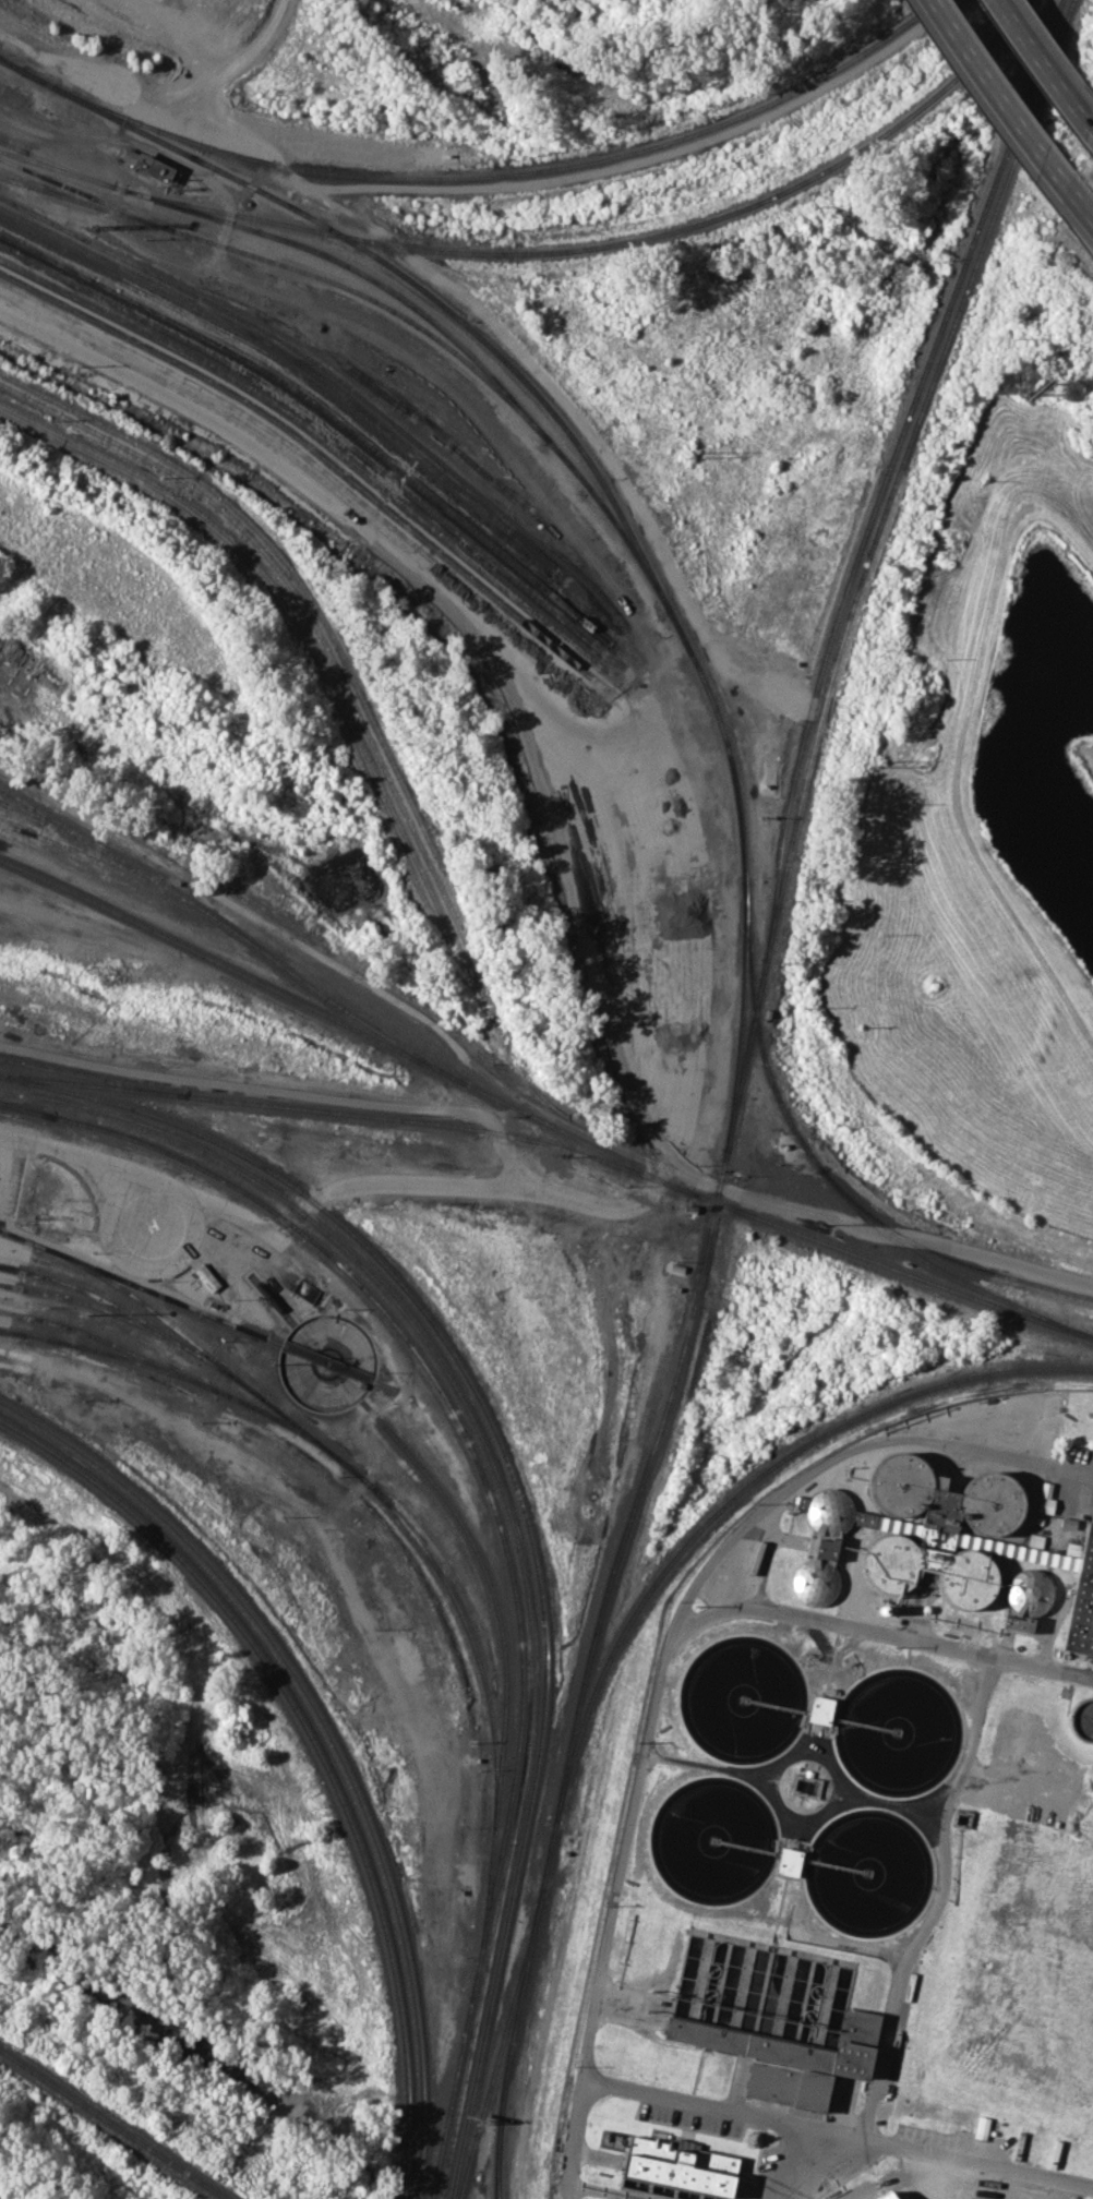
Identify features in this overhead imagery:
railway: (1066, 9)
road: (1050, 62)
railway: (14, 64)
railway: (14, 67)
power tower: (464, 76)
road: (1004, 98)
railway: (12, 145)
railway: (22, 157)
railway: (52, 161)
building: (149, 165)
railway: (512, 172)
railway: (83, 201)
road: (1082, 209)
railway: (612, 243)
railway: (287, 265)
railway: (412, 304)
railway: (299, 362)
railway: (513, 368)
railway: (295, 371)
railway: (341, 380)
railway: (916, 392)
railway: (927, 393)
railway: (324, 408)
railway: (324, 421)
railway: (322, 438)
railway: (321, 454)
power tower: (688, 455)
railway: (313, 601)
railway: (300, 621)
railway: (328, 650)
railway: (337, 716)
power tower: (876, 762)
railway: (17, 800)
road: (551, 832)
railway: (71, 841)
railway: (778, 872)
railway: (784, 873)
road: (238, 906)
railway: (232, 929)
railway: (741, 1014)
railway: (345, 1024)
railway: (757, 1026)
railway: (747, 1053)
railway: (92, 1077)
road: (284, 1091)
railway: (28, 1109)
railway: (28, 1111)
railway: (349, 1111)
railway: (785, 1159)
parking lot: (11, 1180)
road: (392, 1181)
road: (611, 1206)
helipad: (151, 1226)
railway: (941, 1254)
road: (305, 1260)
railway: (890, 1265)
railway: (940, 1270)
railway: (142, 1286)
railway: (273, 1300)
railway: (97, 1306)
railway: (132, 1313)
railway: (7, 1331)
railway: (194, 1343)
railway: (101, 1351)
railway: (386, 1386)
railway: (338, 1411)
road: (836, 1455)
railway: (520, 1499)
railway: (729, 1499)
railway: (509, 1511)
railway: (628, 1519)
railway: (401, 1521)
building: (820, 1545)
railway: (506, 1550)
railway: (493, 1596)
building: (1021, 1600)
building: (1082, 1600)
road: (1041, 1669)
building: (819, 1709)
railway: (331, 1734)
railway: (317, 1749)
road: (804, 1749)
railway: (554, 1754)
road: (784, 1807)
wastewater plant: (860, 1836)
building: (788, 1861)
road: (939, 1897)
road: (601, 1949)
railway: (512, 2044)
railway: (500, 2045)
building: (790, 2058)
railway: (477, 2103)
railway: (111, 2125)
building: (981, 2127)
road: (572, 2138)
road: (783, 2161)
building: (680, 2164)
road: (617, 2188)

